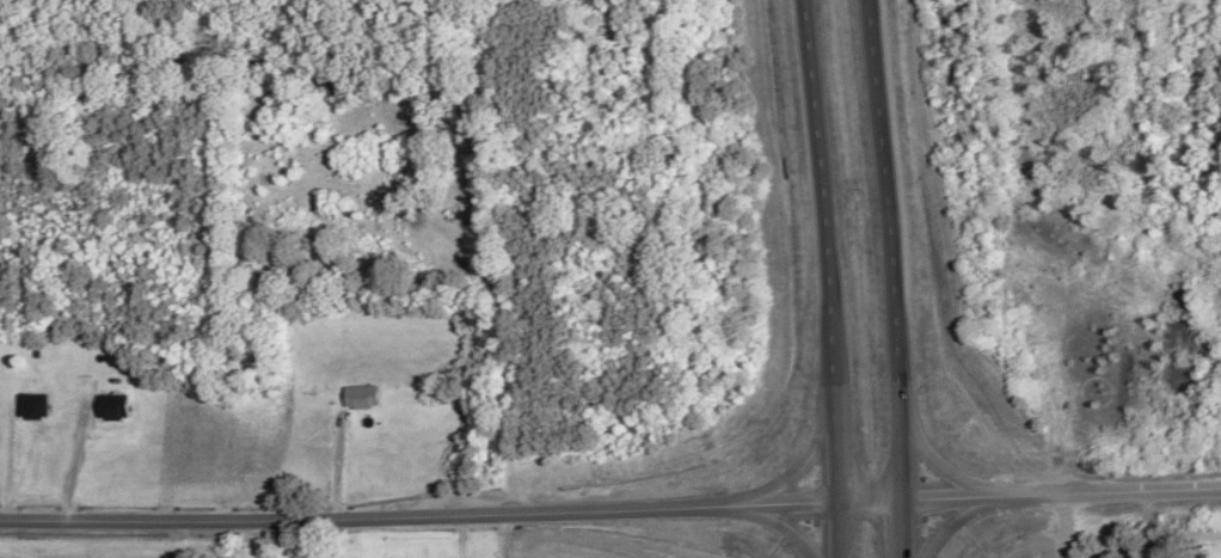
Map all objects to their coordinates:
road: (817, 191)
road: (888, 250)
building: (362, 398)
building: (32, 407)
building: (112, 407)
road: (834, 443)
road: (927, 453)
road: (804, 459)
road: (610, 509)
road: (953, 521)
road: (780, 527)
road: (902, 529)
road: (836, 531)

